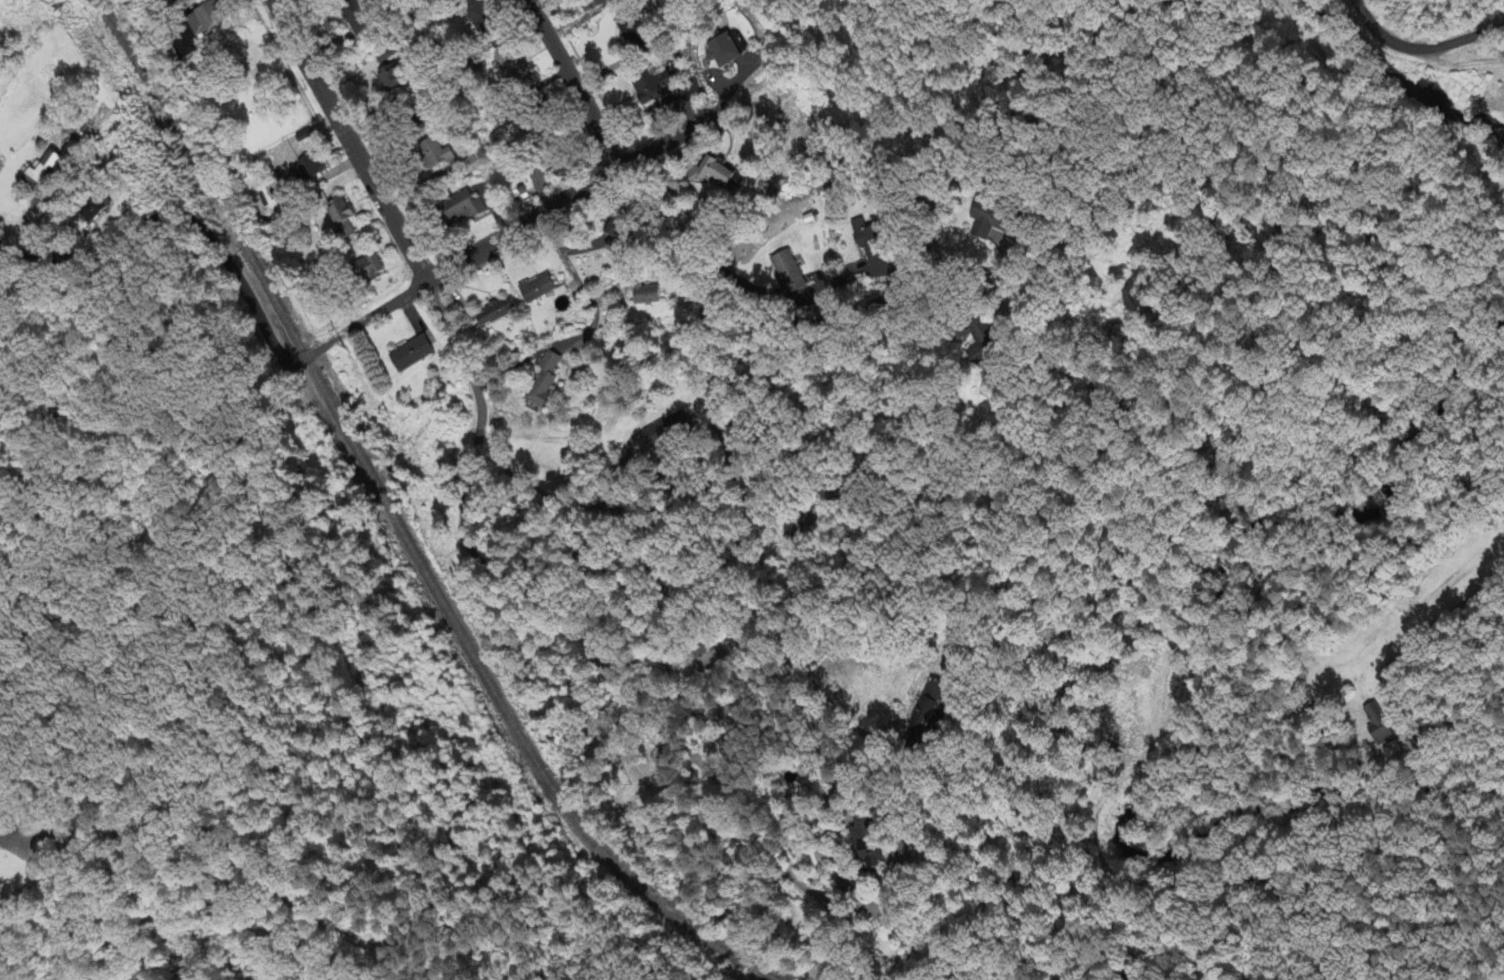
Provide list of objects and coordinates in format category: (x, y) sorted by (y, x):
road: (1360, 12)
road: (1433, 45)
road: (1457, 62)
road: (575, 85)
road: (532, 222)
road: (206, 238)
road: (570, 265)
road: (718, 272)
road: (564, 500)
road: (462, 507)
railway: (395, 525)
road: (1145, 567)
road: (298, 638)
road: (1412, 643)
road: (768, 661)
road: (754, 748)
road: (204, 831)

